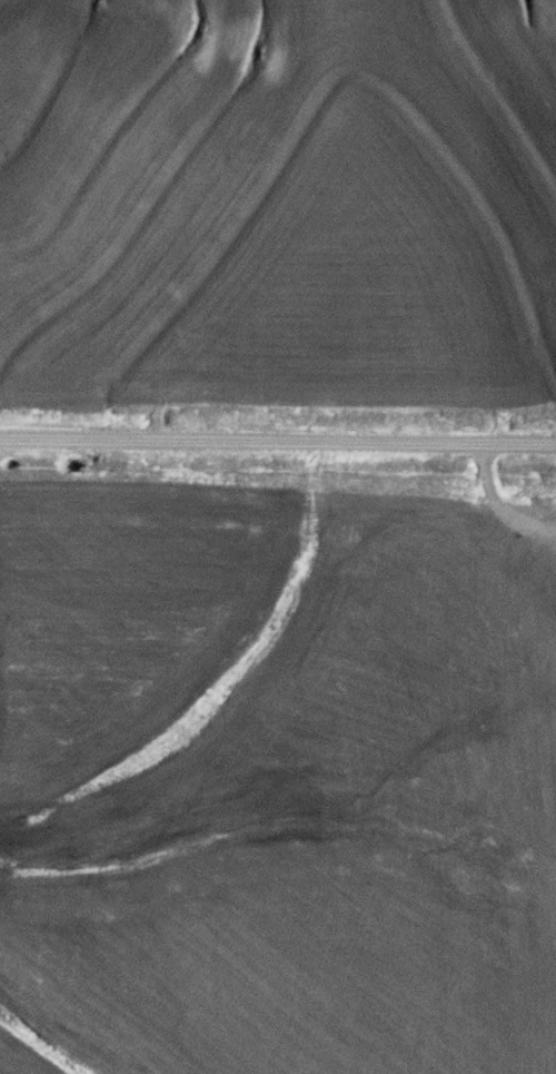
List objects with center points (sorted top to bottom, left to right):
road: (278, 440)

